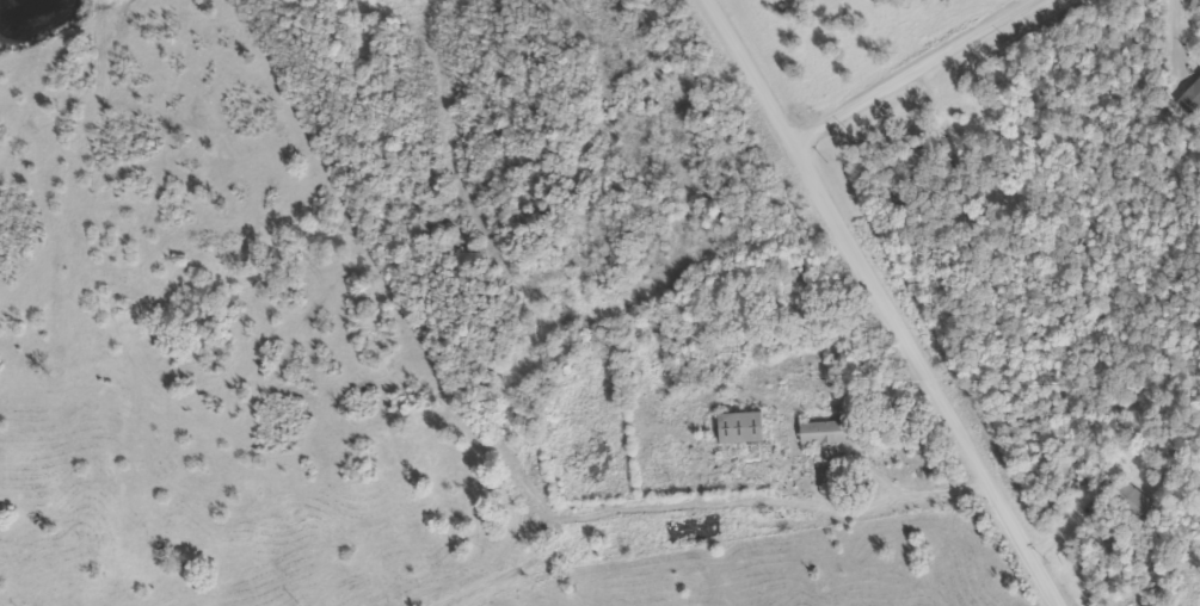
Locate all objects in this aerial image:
building: (925, 159)
road: (848, 241)
building: (743, 427)
building: (825, 432)
road: (512, 468)
building: (1133, 501)
road: (1022, 544)
road: (522, 567)

